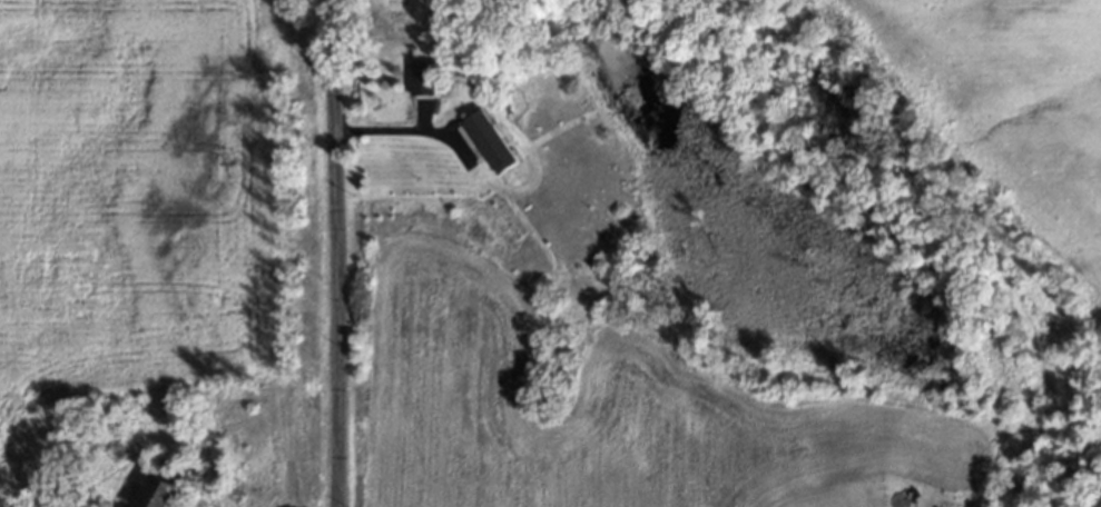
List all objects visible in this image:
building: (421, 77)
building: (489, 141)
road: (343, 254)
building: (155, 490)

